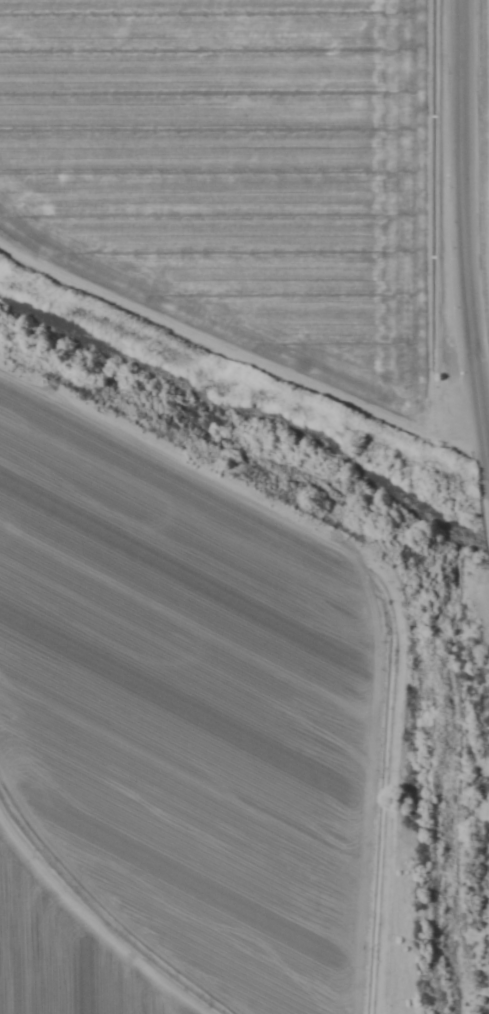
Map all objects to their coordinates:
road: (470, 249)
river: (250, 409)
road: (480, 420)

